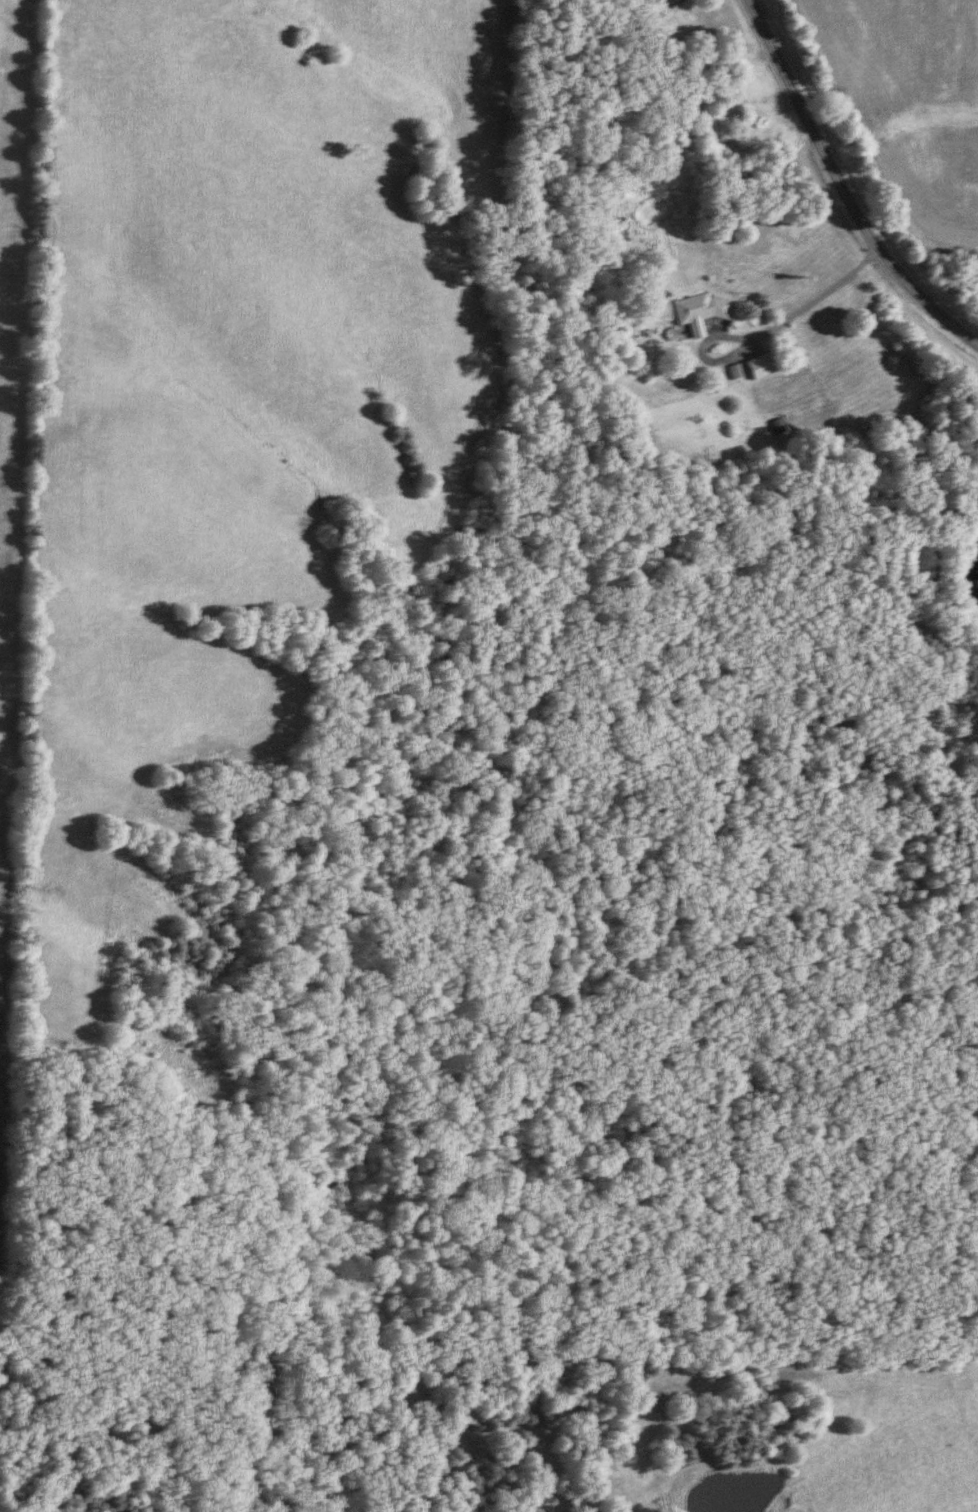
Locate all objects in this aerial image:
road: (839, 190)
building: (698, 313)
road: (770, 331)

